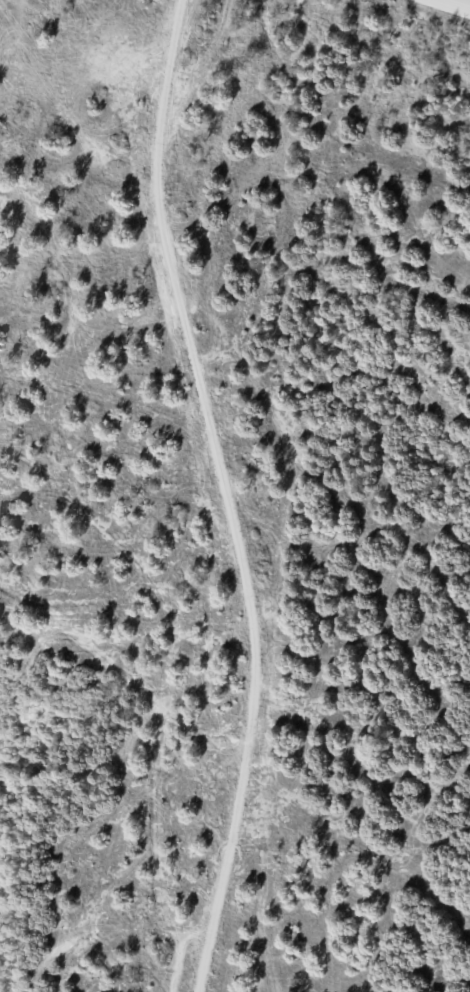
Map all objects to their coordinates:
road: (458, 3)

